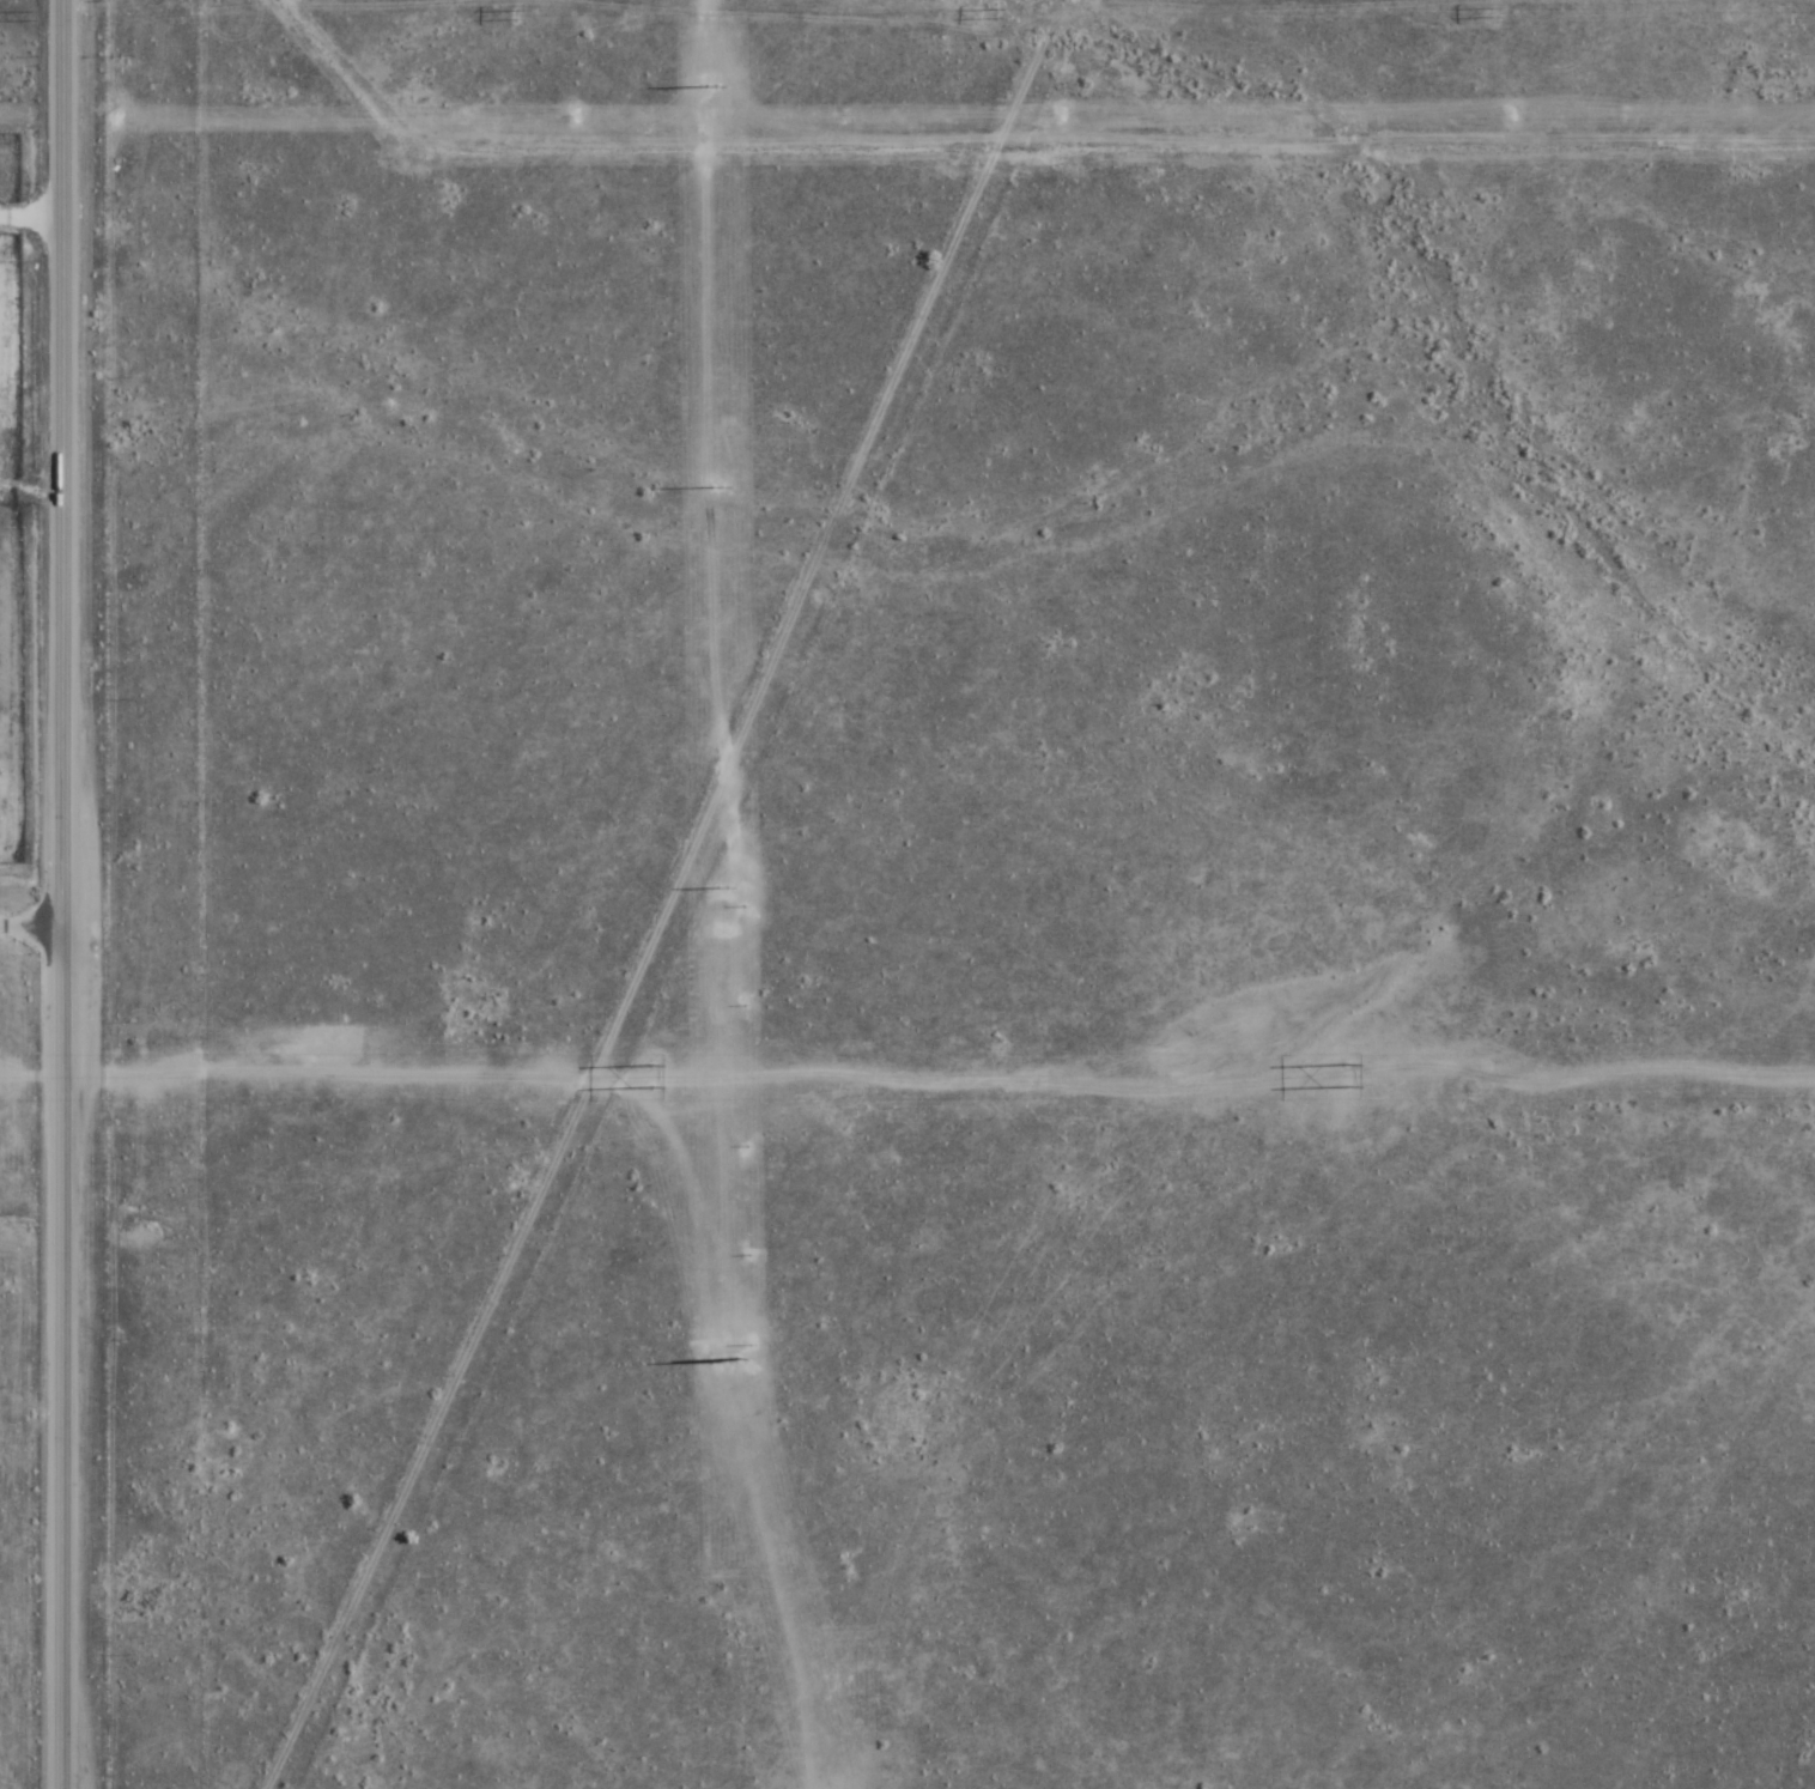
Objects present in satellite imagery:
power tower: (514, 16)
power tower: (1498, 16)
power tower: (997, 17)
power tower: (31, 18)
power tower: (1064, 117)
power tower: (1514, 117)
power tower: (114, 120)
power tower: (579, 120)
road: (66, 894)
road: (32, 916)
power tower: (1341, 1074)
power tower: (648, 1077)

